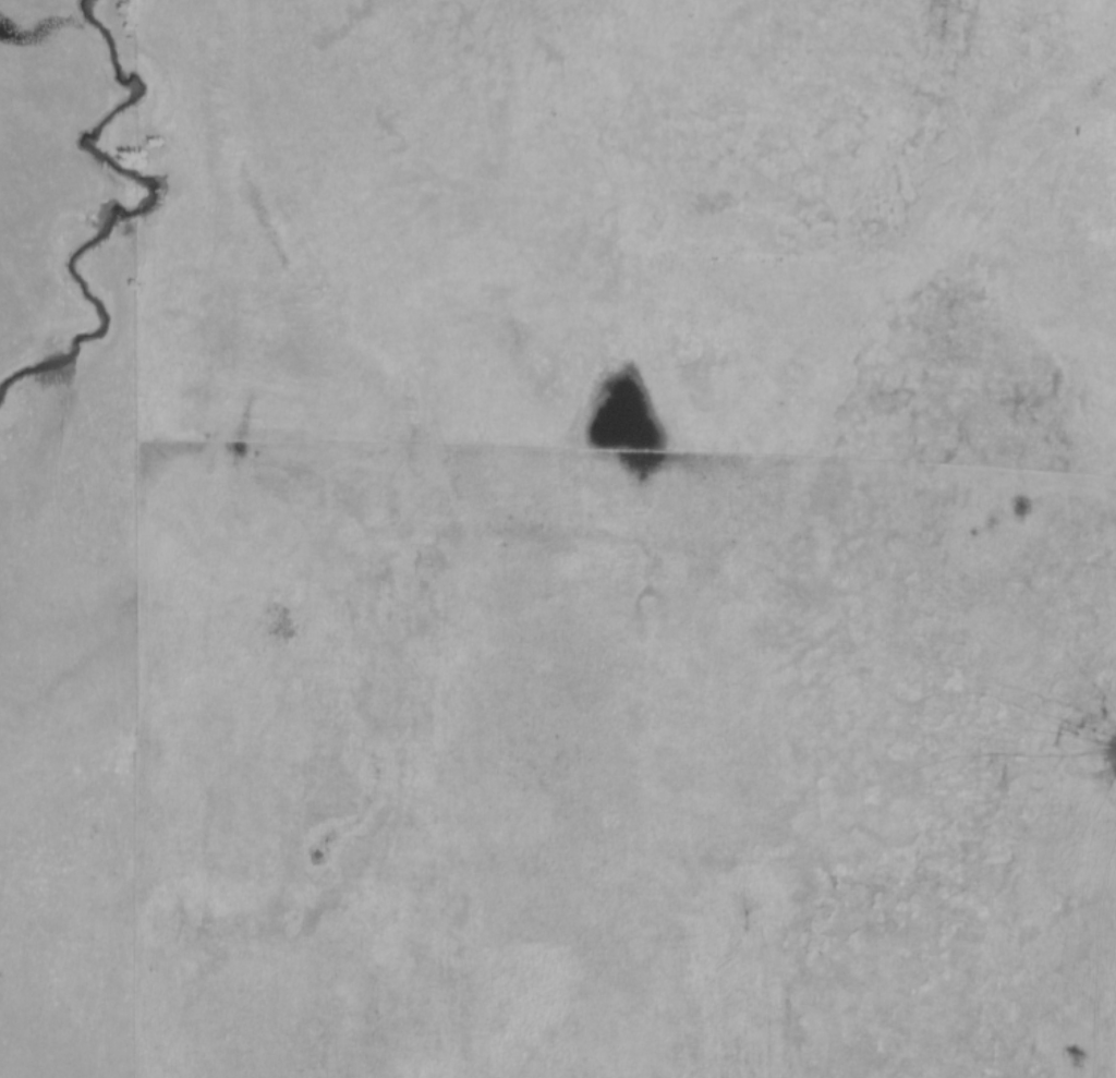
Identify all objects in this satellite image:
river: (125, 213)

